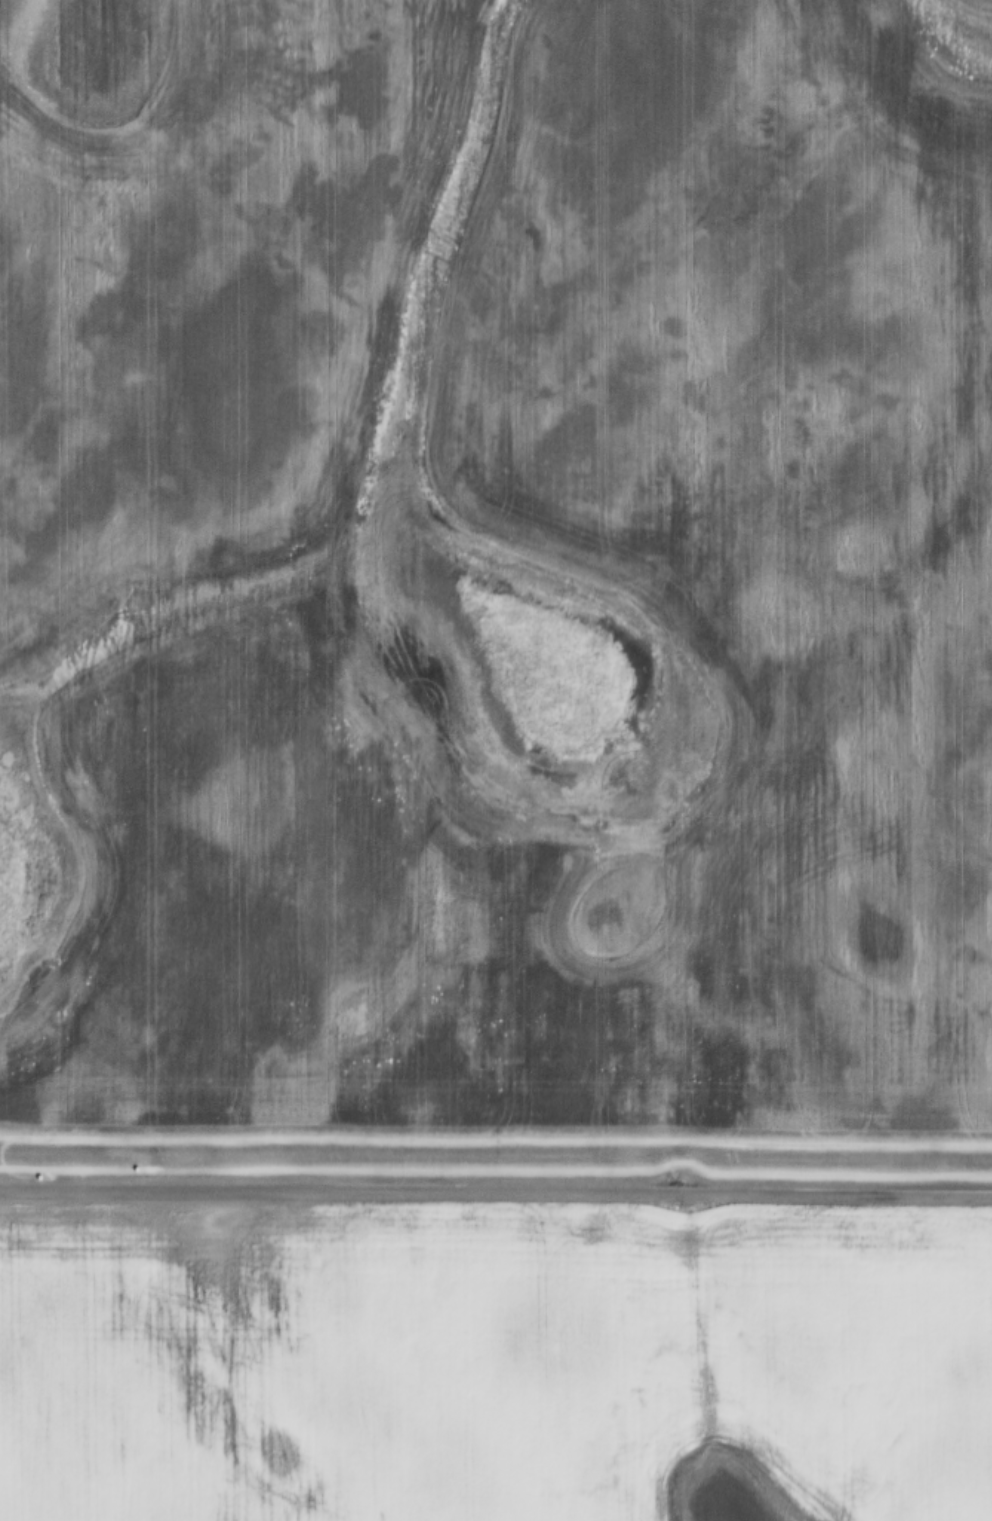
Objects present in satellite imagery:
road: (496, 1194)

